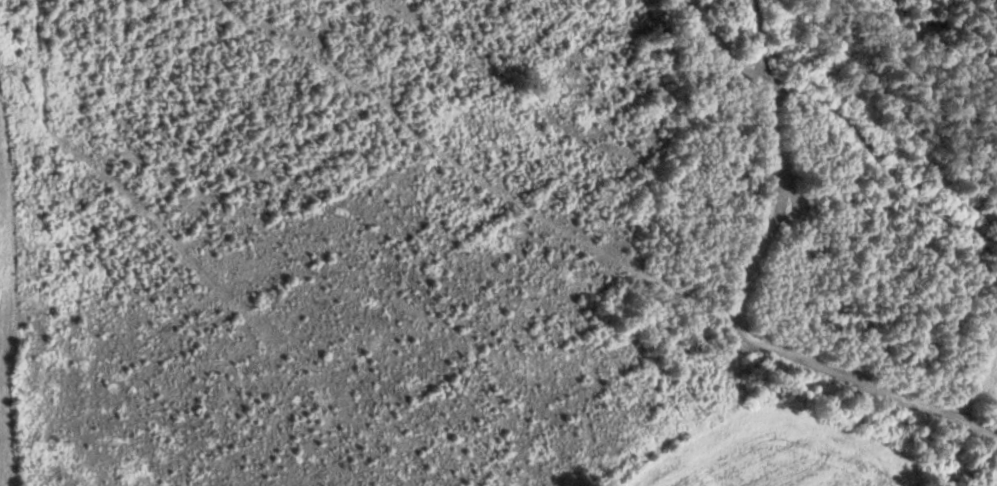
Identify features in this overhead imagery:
road: (760, 43)
road: (721, 49)
park: (831, 213)
road: (754, 337)

